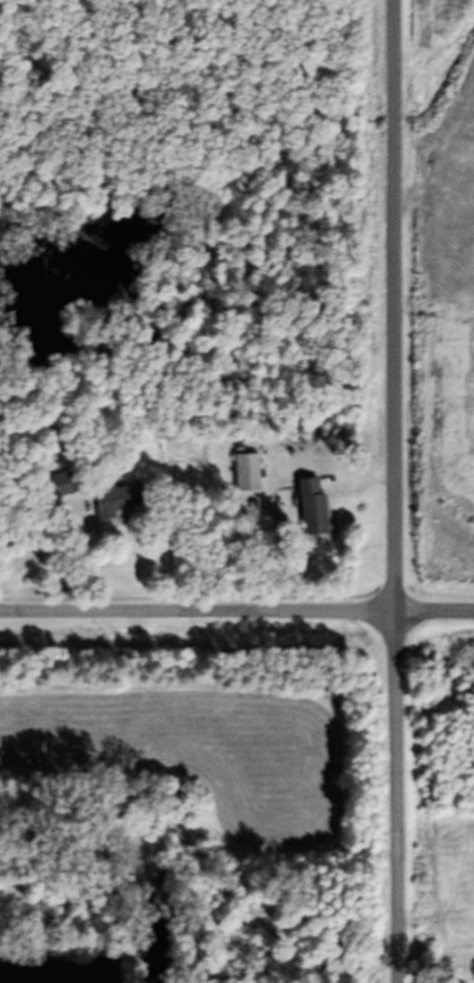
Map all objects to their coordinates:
building: (242, 477)
road: (392, 491)
building: (114, 505)
building: (307, 515)
road: (237, 611)

